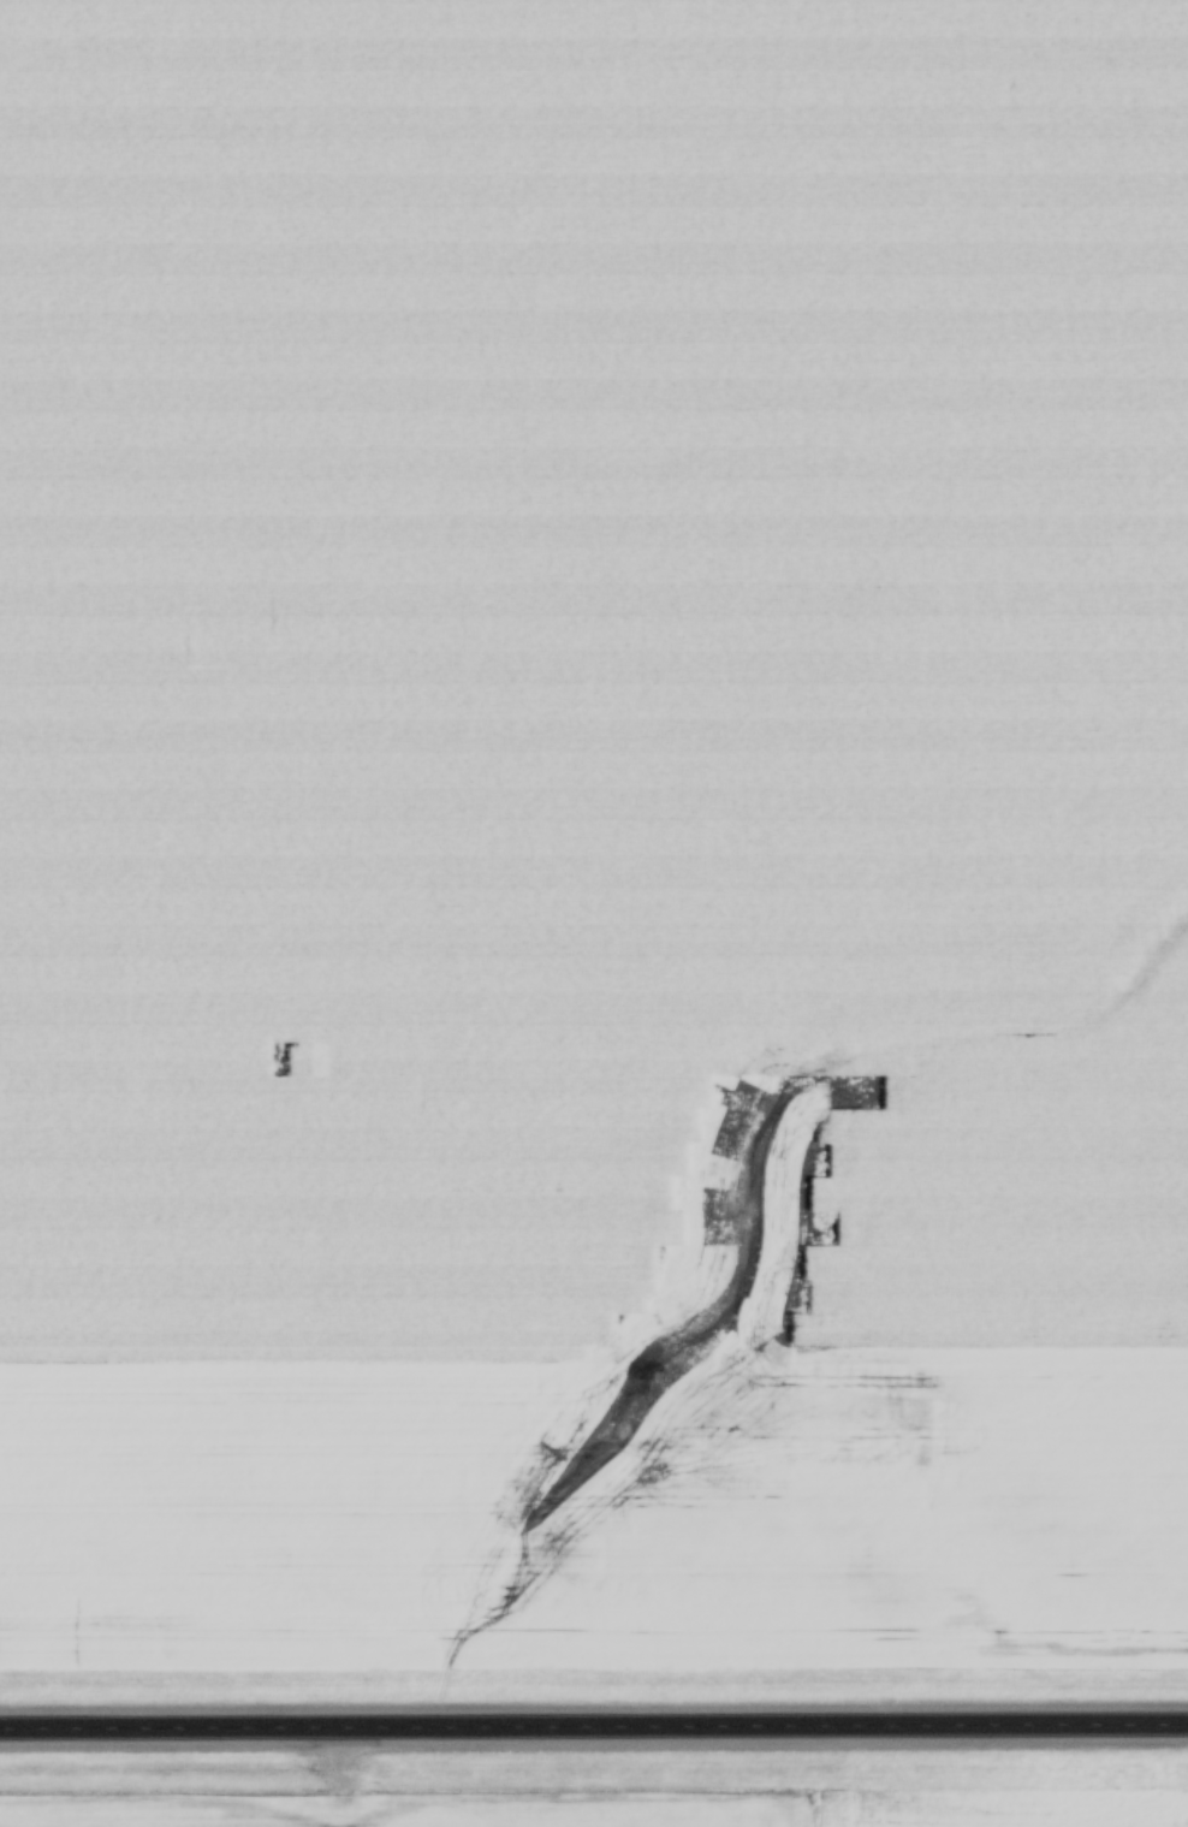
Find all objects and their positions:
road: (594, 1726)

